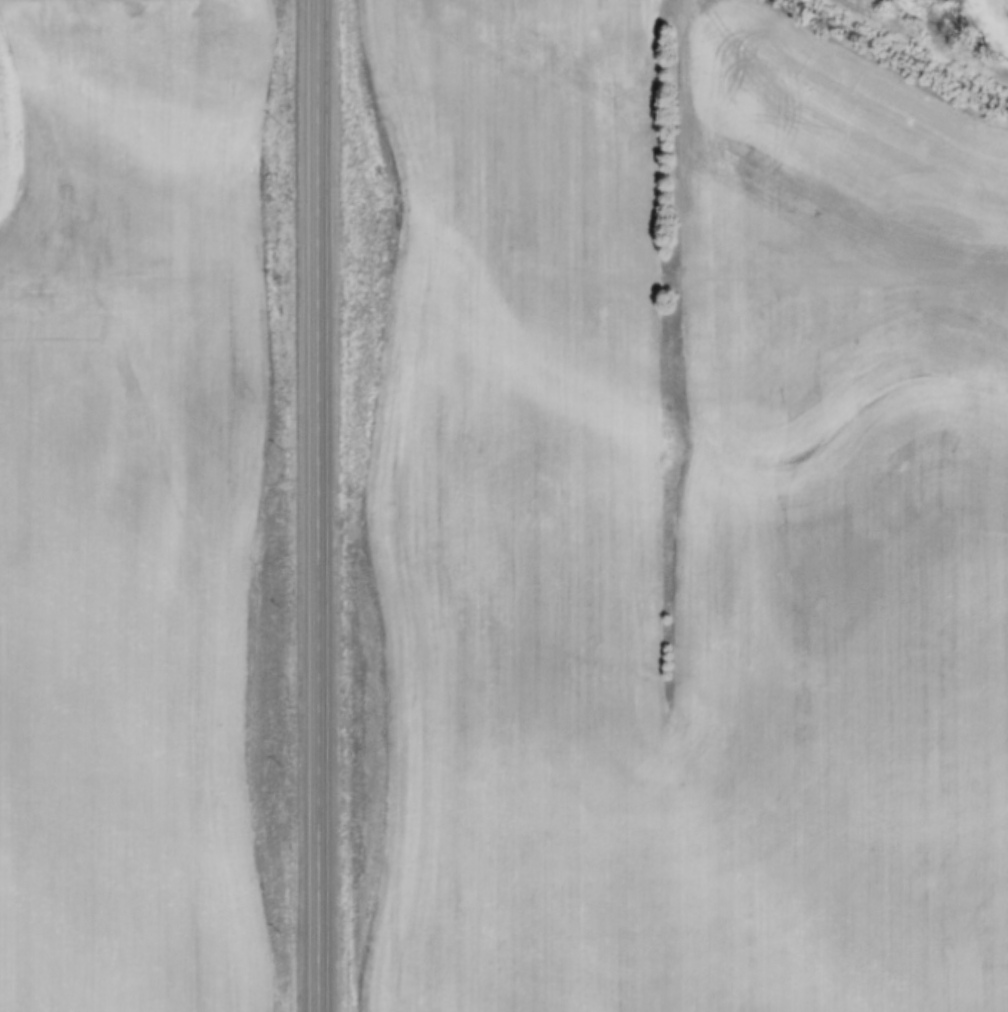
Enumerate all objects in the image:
road: (317, 505)

